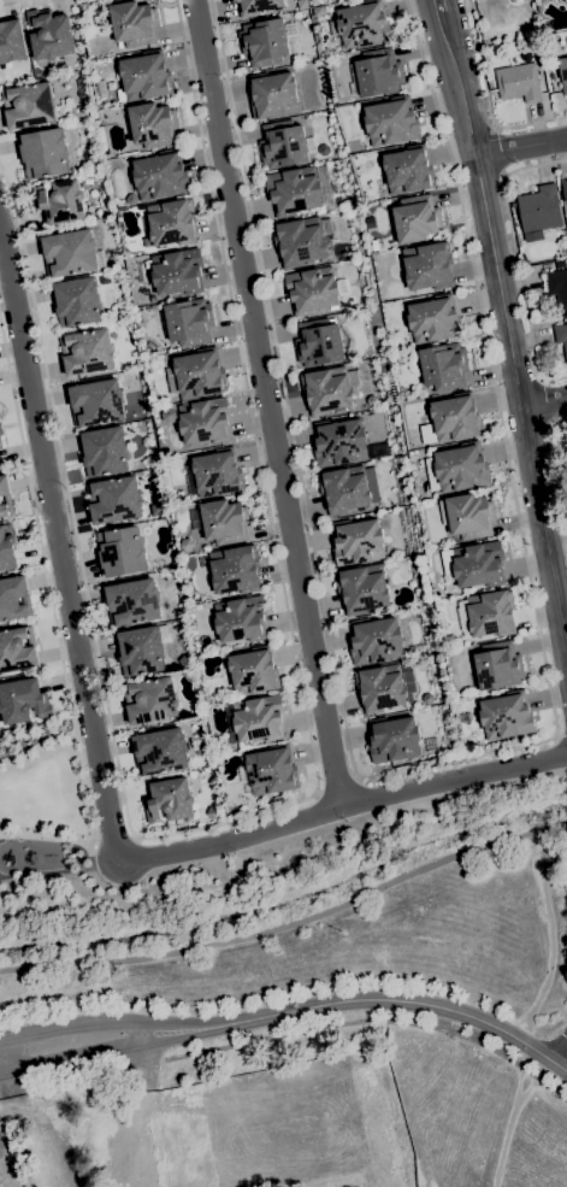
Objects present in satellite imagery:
building: (565, 0)
building: (301, 5)
building: (256, 6)
road: (439, 6)
road: (441, 6)
building: (318, 11)
building: (99, 20)
building: (134, 23)
building: (361, 25)
building: (291, 29)
building: (49, 35)
building: (11, 41)
building: (264, 42)
building: (525, 57)
building: (81, 63)
building: (550, 69)
building: (376, 74)
building: (563, 74)
building: (146, 76)
building: (519, 82)
building: (272, 95)
road: (486, 99)
building: (29, 106)
building: (78, 112)
building: (391, 122)
building: (152, 125)
building: (282, 145)
building: (311, 145)
building: (323, 149)
road: (521, 149)
building: (43, 154)
building: (88, 155)
building: (408, 170)
building: (160, 175)
building: (293, 190)
building: (565, 190)
building: (131, 200)
building: (60, 201)
building: (338, 202)
road: (484, 207)
building: (539, 210)
building: (415, 218)
building: (171, 222)
building: (299, 241)
building: (69, 252)
road: (515, 258)
building: (560, 264)
building: (427, 265)
building: (177, 272)
building: (557, 287)
building: (313, 290)
building: (77, 301)
building: (118, 316)
building: (431, 321)
building: (189, 322)
building: (319, 342)
building: (561, 342)
building: (391, 343)
building: (88, 352)
building: (443, 366)
road: (490, 370)
building: (195, 375)
building: (329, 389)
building: (371, 400)
building: (96, 401)
road: (544, 401)
road: (547, 401)
road: (266, 402)
building: (169, 415)
building: (455, 418)
building: (203, 419)
building: (0, 430)
building: (0, 442)
building: (338, 442)
building: (104, 451)
building: (563, 468)
building: (457, 469)
road: (557, 471)
building: (214, 472)
road: (300, 486)
building: (349, 488)
building: (181, 493)
building: (4, 495)
building: (114, 499)
building: (156, 509)
building: (467, 516)
building: (225, 521)
road: (544, 528)
building: (358, 541)
building: (187, 545)
building: (7, 548)
building: (120, 551)
road: (60, 553)
building: (159, 564)
building: (474, 565)
building: (234, 570)
road: (47, 584)
building: (362, 588)
building: (14, 598)
building: (132, 601)
building: (488, 613)
building: (240, 619)
building: (205, 640)
building: (376, 640)
building: (16, 650)
building: (142, 650)
building: (183, 660)
building: (498, 665)
building: (253, 671)
building: (384, 687)
building: (150, 700)
building: (23, 701)
building: (506, 716)
building: (258, 718)
road: (562, 734)
building: (394, 739)
road: (36, 747)
building: (160, 751)
building: (270, 770)
road: (336, 788)
building: (170, 799)
road: (284, 804)
park: (42, 806)
road: (343, 806)
building: (213, 812)
road: (47, 839)
road: (290, 925)
road: (398, 1000)
road: (370, 1018)
road: (69, 1023)
road: (178, 1024)
road: (142, 1030)
road: (181, 1034)
road: (560, 1050)
road: (75, 1056)
road: (148, 1056)
road: (2, 1062)
road: (148, 1062)
road: (2, 1073)
road: (83, 1076)
road: (7, 1083)
road: (13, 1091)
road: (178, 1107)
building: (372, 1121)
road: (43, 1122)
parking lot: (283, 1123)
road: (123, 1128)
building: (383, 1170)
road: (1, 1180)

